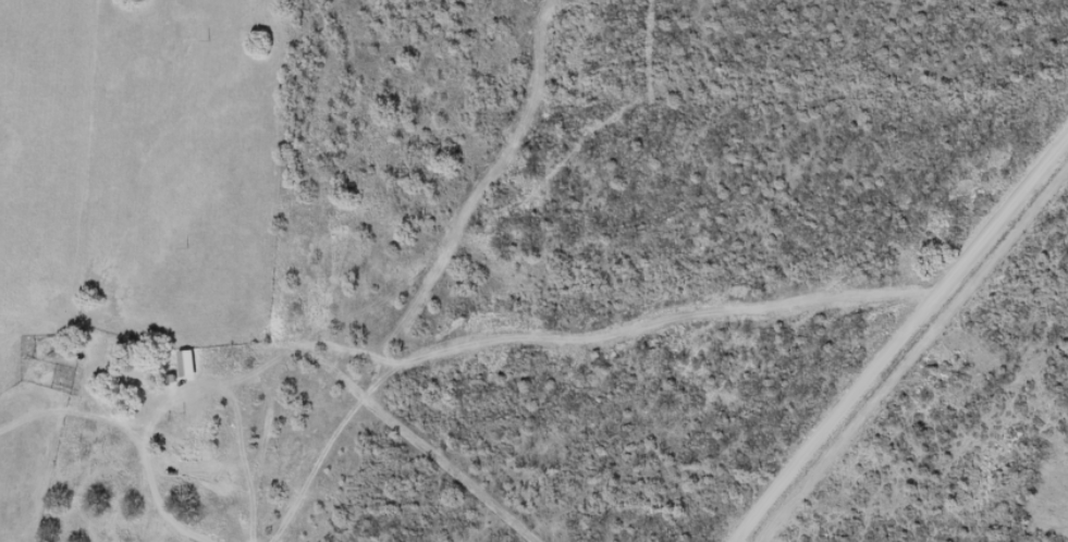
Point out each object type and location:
road: (910, 352)
building: (189, 432)
road: (255, 490)

